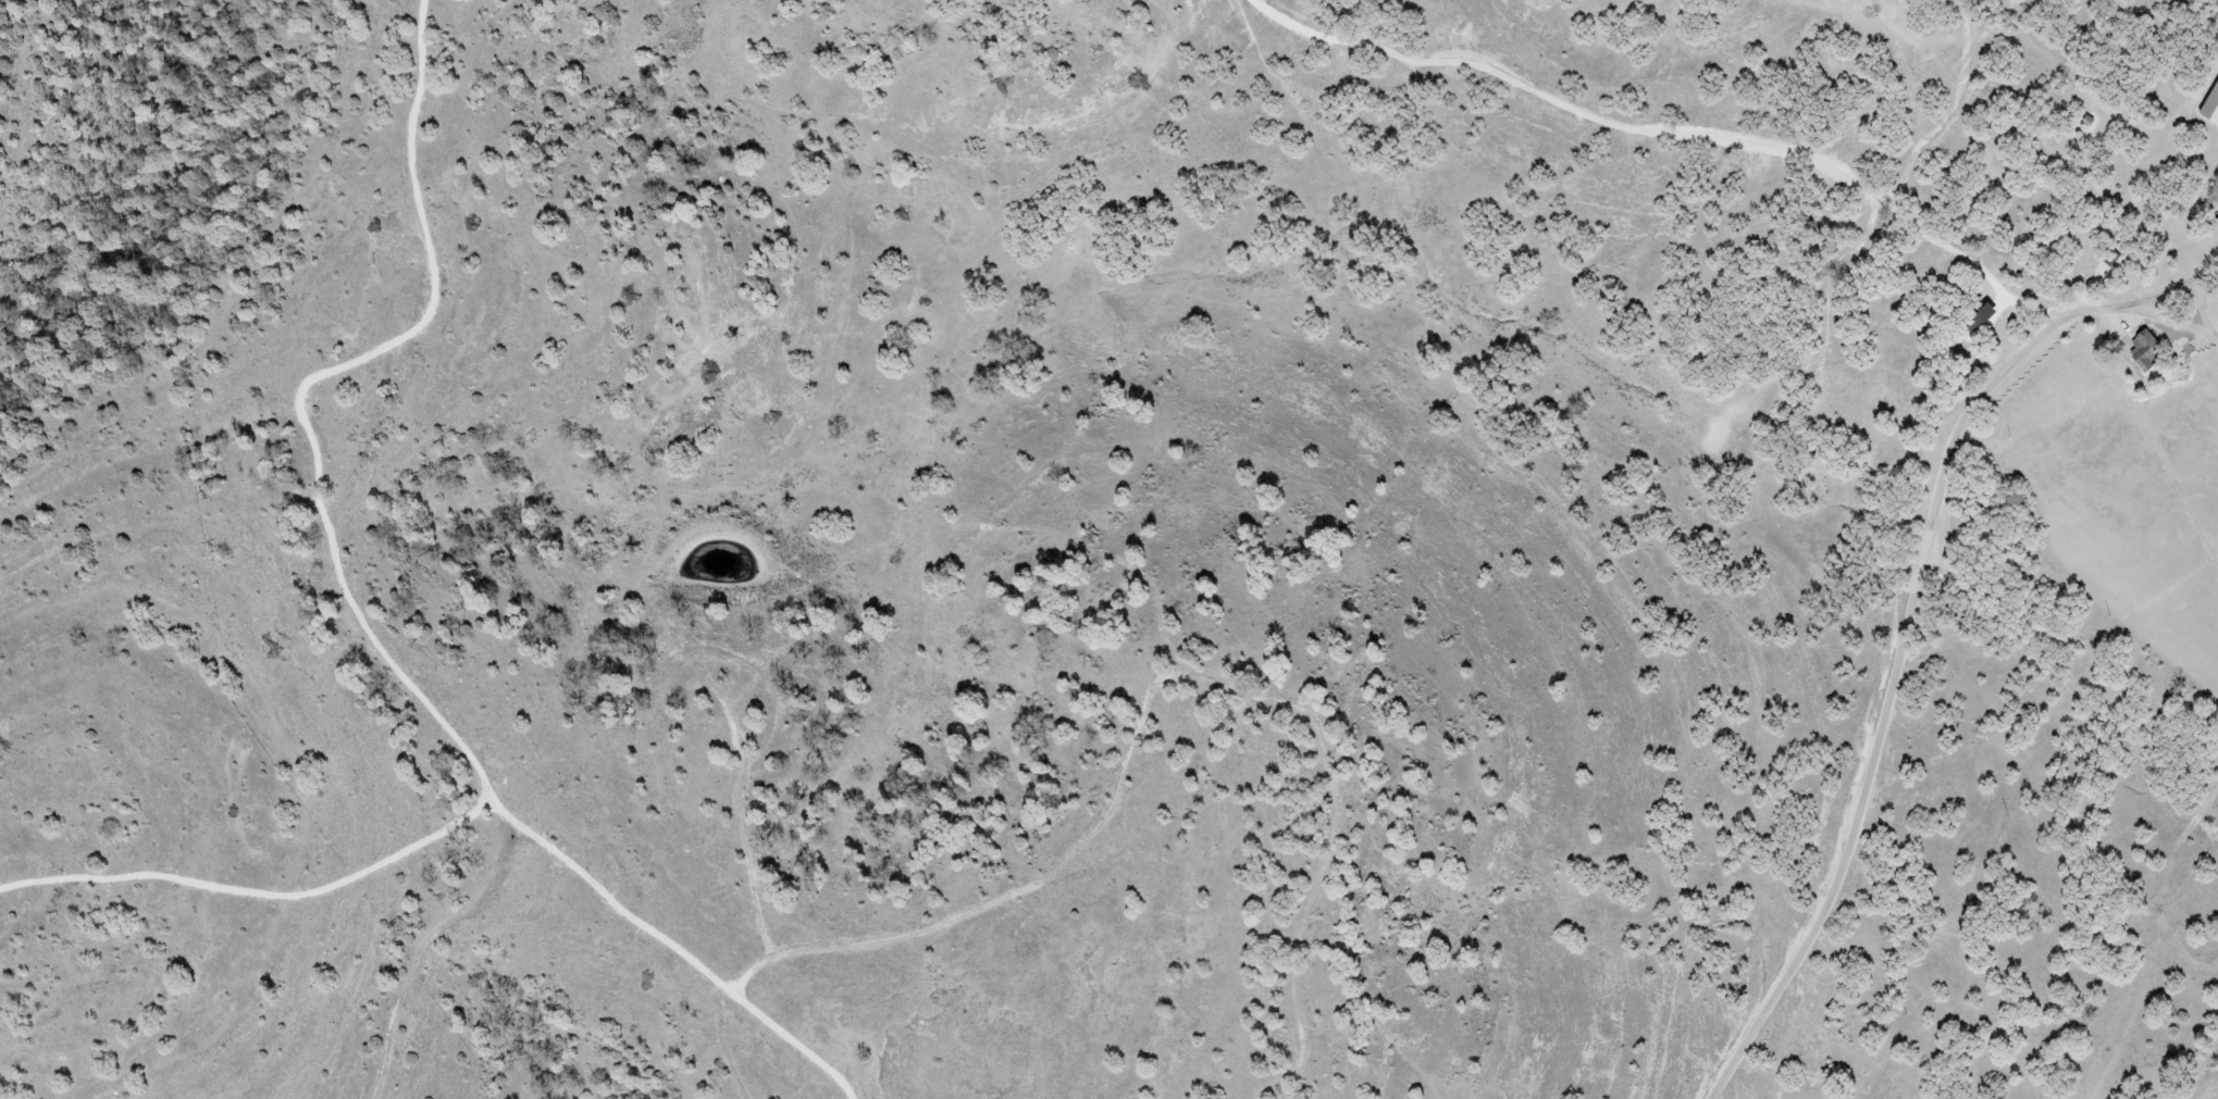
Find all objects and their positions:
road: (1905, 620)

